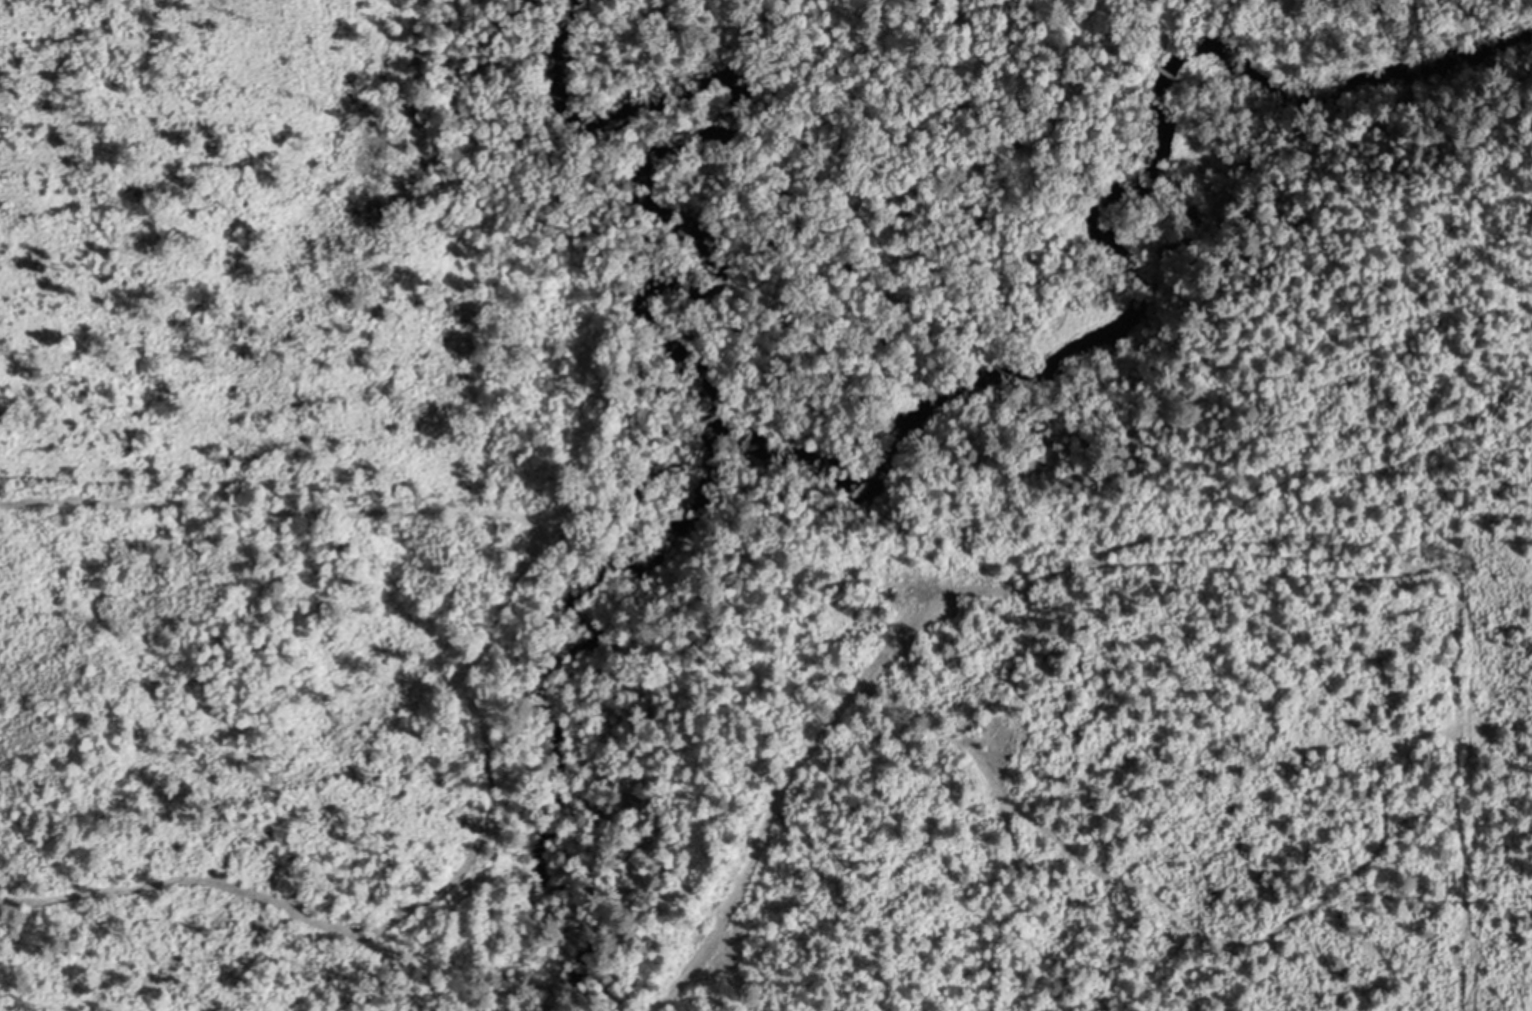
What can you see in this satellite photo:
river: (1142, 157)

